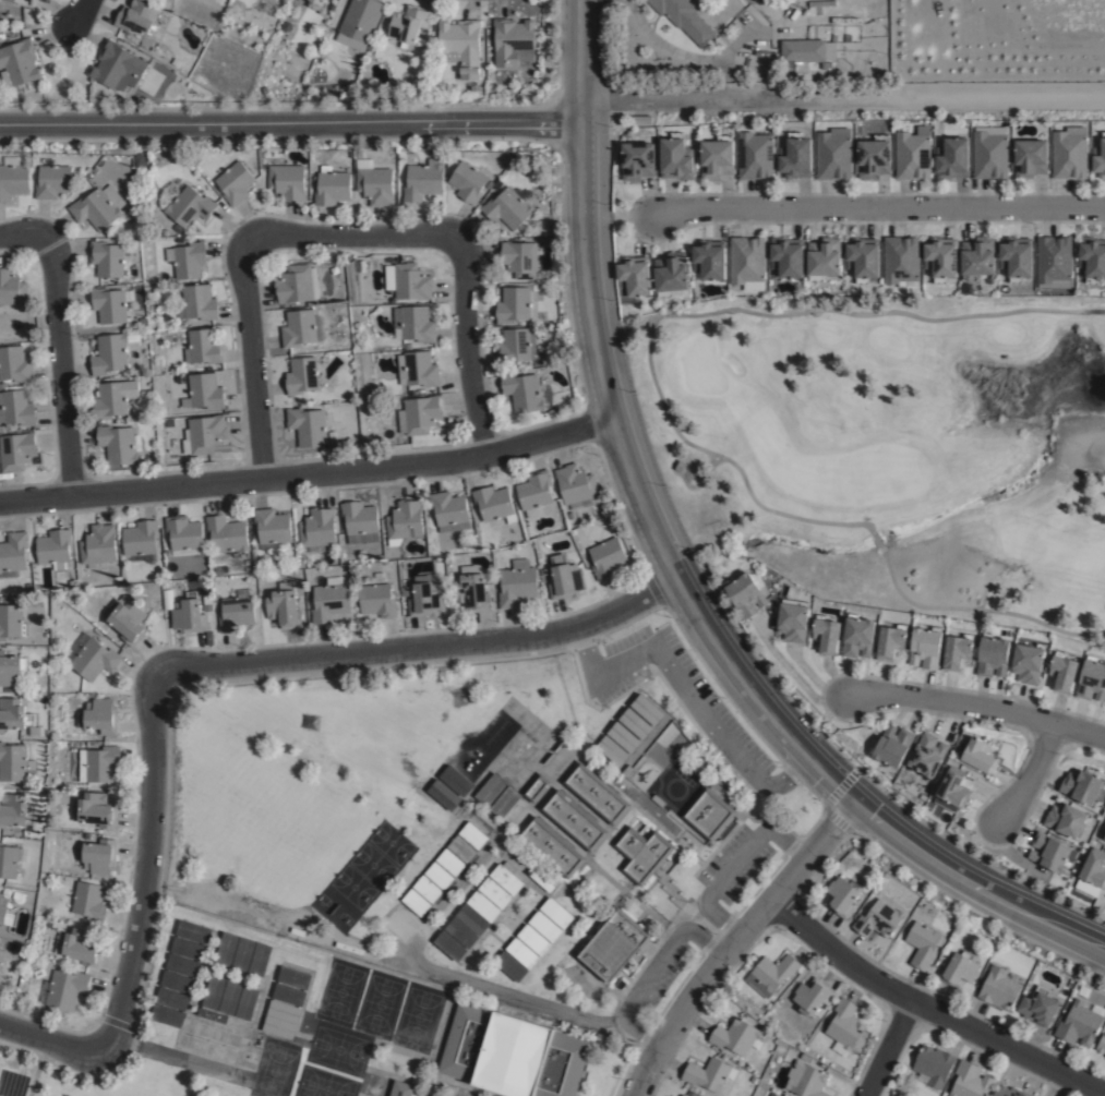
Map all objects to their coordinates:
building: (26, 2)
building: (822, 3)
building: (316, 5)
road: (80, 13)
building: (135, 15)
building: (684, 19)
building: (359, 23)
building: (407, 25)
building: (514, 41)
building: (463, 44)
building: (804, 52)
building: (19, 61)
road: (581, 62)
building: (117, 65)
road: (839, 94)
building: (641, 121)
road: (291, 123)
building: (990, 152)
building: (1069, 153)
building: (833, 154)
building: (755, 155)
building: (913, 155)
building: (717, 156)
building: (796, 156)
building: (875, 156)
building: (676, 157)
building: (1030, 157)
building: (954, 158)
building: (1100, 159)
building: (636, 160)
building: (13, 180)
building: (52, 180)
building: (232, 180)
building: (423, 180)
building: (287, 181)
building: (374, 181)
building: (468, 181)
building: (331, 186)
building: (185, 203)
building: (507, 208)
building: (95, 209)
road: (874, 217)
building: (165, 232)
road: (21, 234)
road: (350, 237)
building: (788, 256)
building: (1092, 257)
building: (709, 258)
building: (900, 258)
building: (977, 258)
building: (1054, 258)
building: (189, 260)
building: (520, 260)
building: (825, 260)
building: (863, 260)
building: (941, 260)
building: (1016, 260)
building: (107, 261)
building: (748, 262)
building: (670, 274)
building: (633, 278)
building: (408, 281)
building: (298, 284)
building: (12, 287)
building: (200, 302)
building: (312, 303)
building: (111, 304)
building: (513, 305)
building: (415, 324)
building: (299, 328)
building: (204, 347)
road: (467, 347)
building: (518, 348)
building: (110, 354)
road: (251, 362)
building: (14, 364)
road: (61, 365)
building: (418, 369)
building: (302, 375)
building: (2, 386)
building: (523, 392)
building: (204, 393)
building: (146, 395)
building: (116, 398)
building: (16, 408)
building: (419, 415)
building: (308, 426)
building: (2, 430)
building: (204, 435)
building: (120, 444)
park: (890, 447)
building: (16, 451)
road: (310, 475)
building: (577, 486)
building: (536, 493)
building: (494, 506)
building: (449, 511)
building: (405, 520)
building: (360, 523)
building: (273, 527)
building: (317, 529)
building: (228, 534)
building: (184, 535)
building: (142, 541)
building: (99, 545)
building: (53, 547)
building: (13, 553)
building: (379, 557)
building: (608, 558)
building: (0, 573)
building: (566, 579)
building: (517, 583)
building: (405, 591)
building: (472, 593)
building: (745, 595)
building: (377, 598)
building: (427, 601)
building: (331, 602)
building: (284, 607)
building: (208, 609)
building: (238, 613)
building: (190, 617)
building: (127, 621)
building: (794, 621)
building: (11, 623)
road: (702, 627)
building: (827, 635)
building: (858, 638)
building: (891, 642)
road: (422, 647)
building: (926, 649)
building: (956, 652)
building: (992, 657)
building: (92, 658)
building: (1028, 664)
building: (11, 671)
building: (1062, 672)
road: (601, 673)
road: (795, 681)
building: (1092, 681)
parking lot: (677, 697)
building: (651, 708)
road: (978, 709)
building: (646, 714)
building: (16, 719)
building: (100, 719)
building: (639, 721)
building: (310, 723)
building: (633, 728)
building: (627, 735)
road: (721, 739)
building: (622, 742)
building: (893, 747)
building: (615, 748)
building: (610, 756)
building: (928, 756)
building: (980, 757)
building: (15, 763)
building: (98, 766)
building: (627, 772)
road: (1029, 776)
building: (536, 787)
building: (1082, 788)
building: (954, 790)
building: (440, 794)
building: (597, 795)
building: (14, 811)
building: (94, 812)
building: (709, 816)
building: (574, 822)
building: (1068, 822)
building: (1103, 835)
building: (473, 838)
building: (1104, 841)
building: (551, 850)
building: (461, 851)
building: (1049, 854)
building: (642, 855)
building: (518, 857)
building: (99, 858)
building: (10, 862)
road: (144, 864)
building: (451, 864)
road: (732, 864)
parking lot: (736, 867)
building: (1094, 870)
building: (439, 878)
building: (507, 879)
building: (427, 890)
building: (495, 895)
building: (842, 899)
building: (89, 903)
building: (416, 904)
building: (483, 908)
building: (5, 915)
building: (557, 915)
building: (472, 922)
building: (879, 922)
building: (545, 928)
building: (193, 934)
building: (461, 934)
building: (535, 941)
road: (735, 942)
building: (614, 947)
building: (922, 947)
building: (449, 948)
building: (79, 949)
building: (188, 951)
building: (228, 951)
building: (244, 955)
building: (523, 955)
building: (1, 959)
building: (262, 962)
building: (183, 967)
building: (512, 968)
road: (651, 969)
building: (771, 972)
building: (957, 973)
parking lot: (658, 976)
building: (296, 980)
building: (177, 985)
building: (998, 989)
building: (64, 990)
building: (813, 993)
building: (1084, 993)
building: (214, 995)
building: (290, 997)
building: (230, 1000)
building: (172, 1001)
building: (248, 1005)
building: (1038, 1008)
building: (287, 1010)
road: (929, 1011)
building: (167, 1017)
building: (213, 1017)
building: (284, 1017)
building: (281, 1025)
building: (844, 1025)
building: (1080, 1025)
building: (278, 1033)
building: (736, 1034)
road: (49, 1041)
building: (1101, 1046)
road: (889, 1049)
building: (512, 1057)
building: (933, 1063)
building: (708, 1073)
building: (807, 1076)
building: (754, 1079)
building: (969, 1080)
building: (400, 1087)
building: (1008, 1091)
parking lot: (460, 1093)
building: (689, 1093)
building: (772, 1094)
building: (670, 1095)
building: (1041, 1095)

